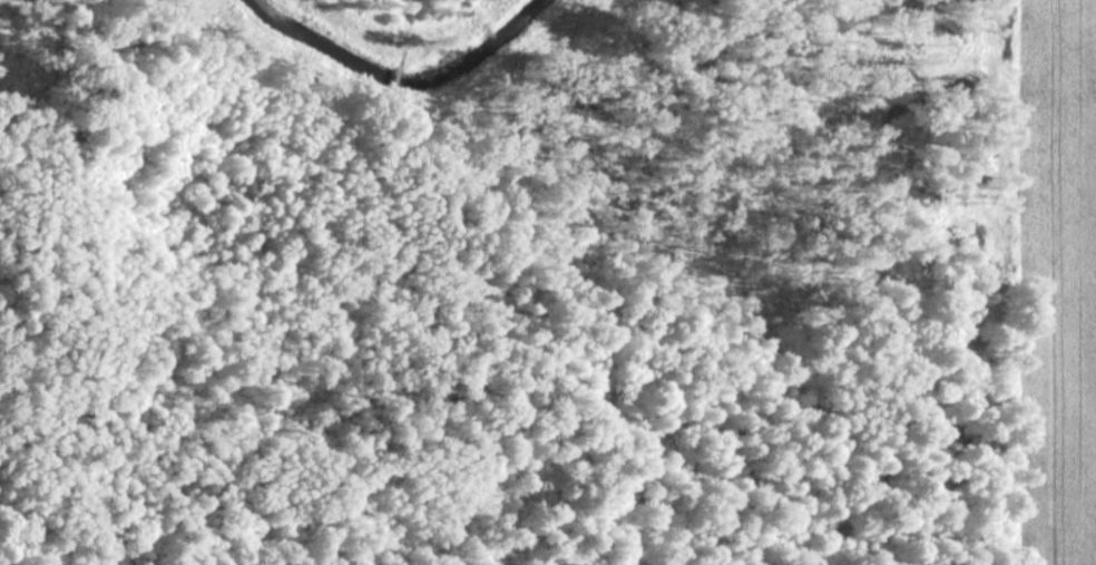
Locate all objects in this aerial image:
river: (405, 78)

